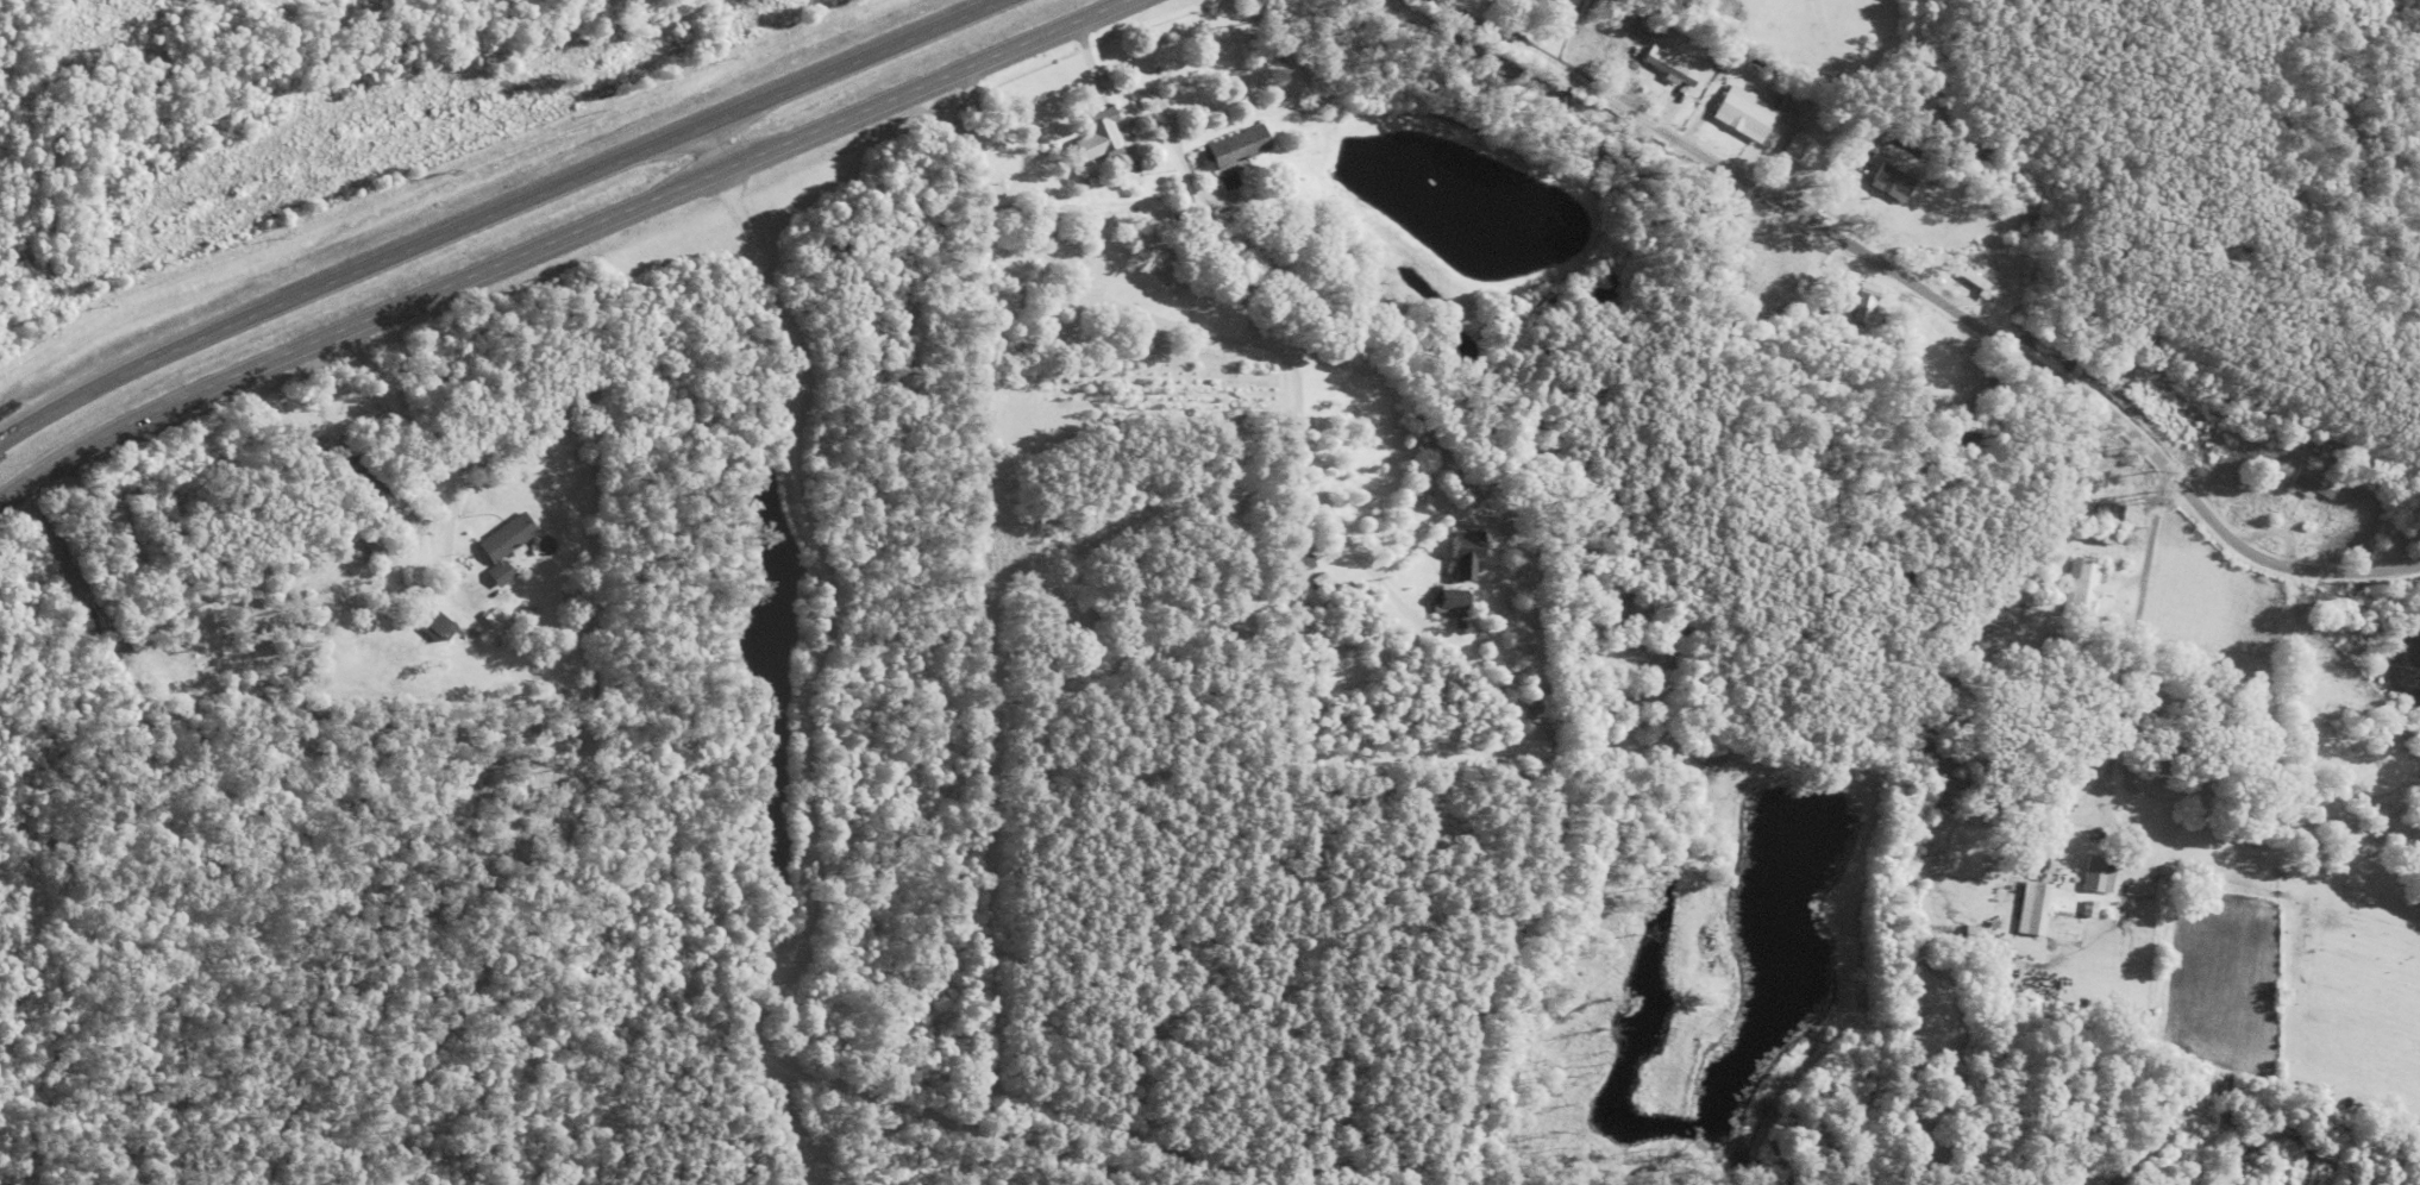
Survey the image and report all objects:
road: (487, 208)
road: (551, 239)
road: (1937, 299)
road: (681, 1020)

